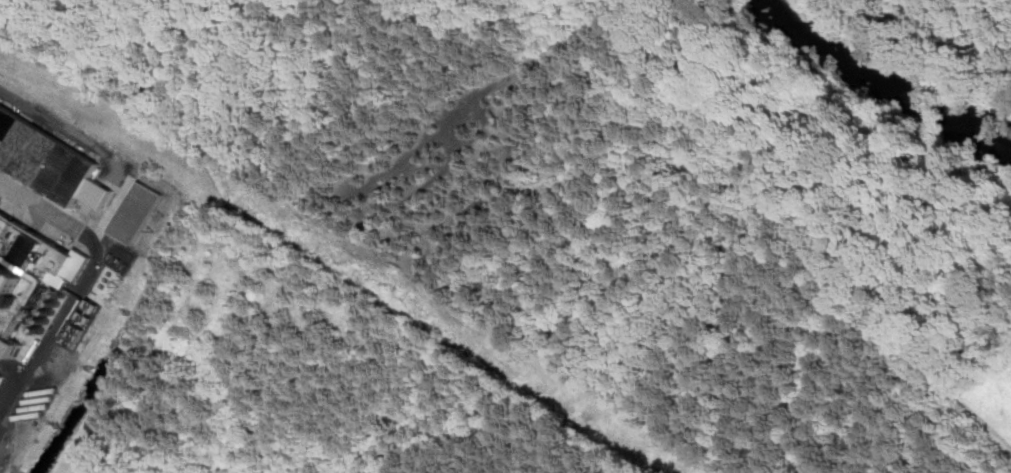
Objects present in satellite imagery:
river: (887, 84)
building: (47, 163)
road: (787, 210)
building: (136, 213)
road: (363, 246)
building: (26, 274)
road: (84, 280)
building: (0, 377)

